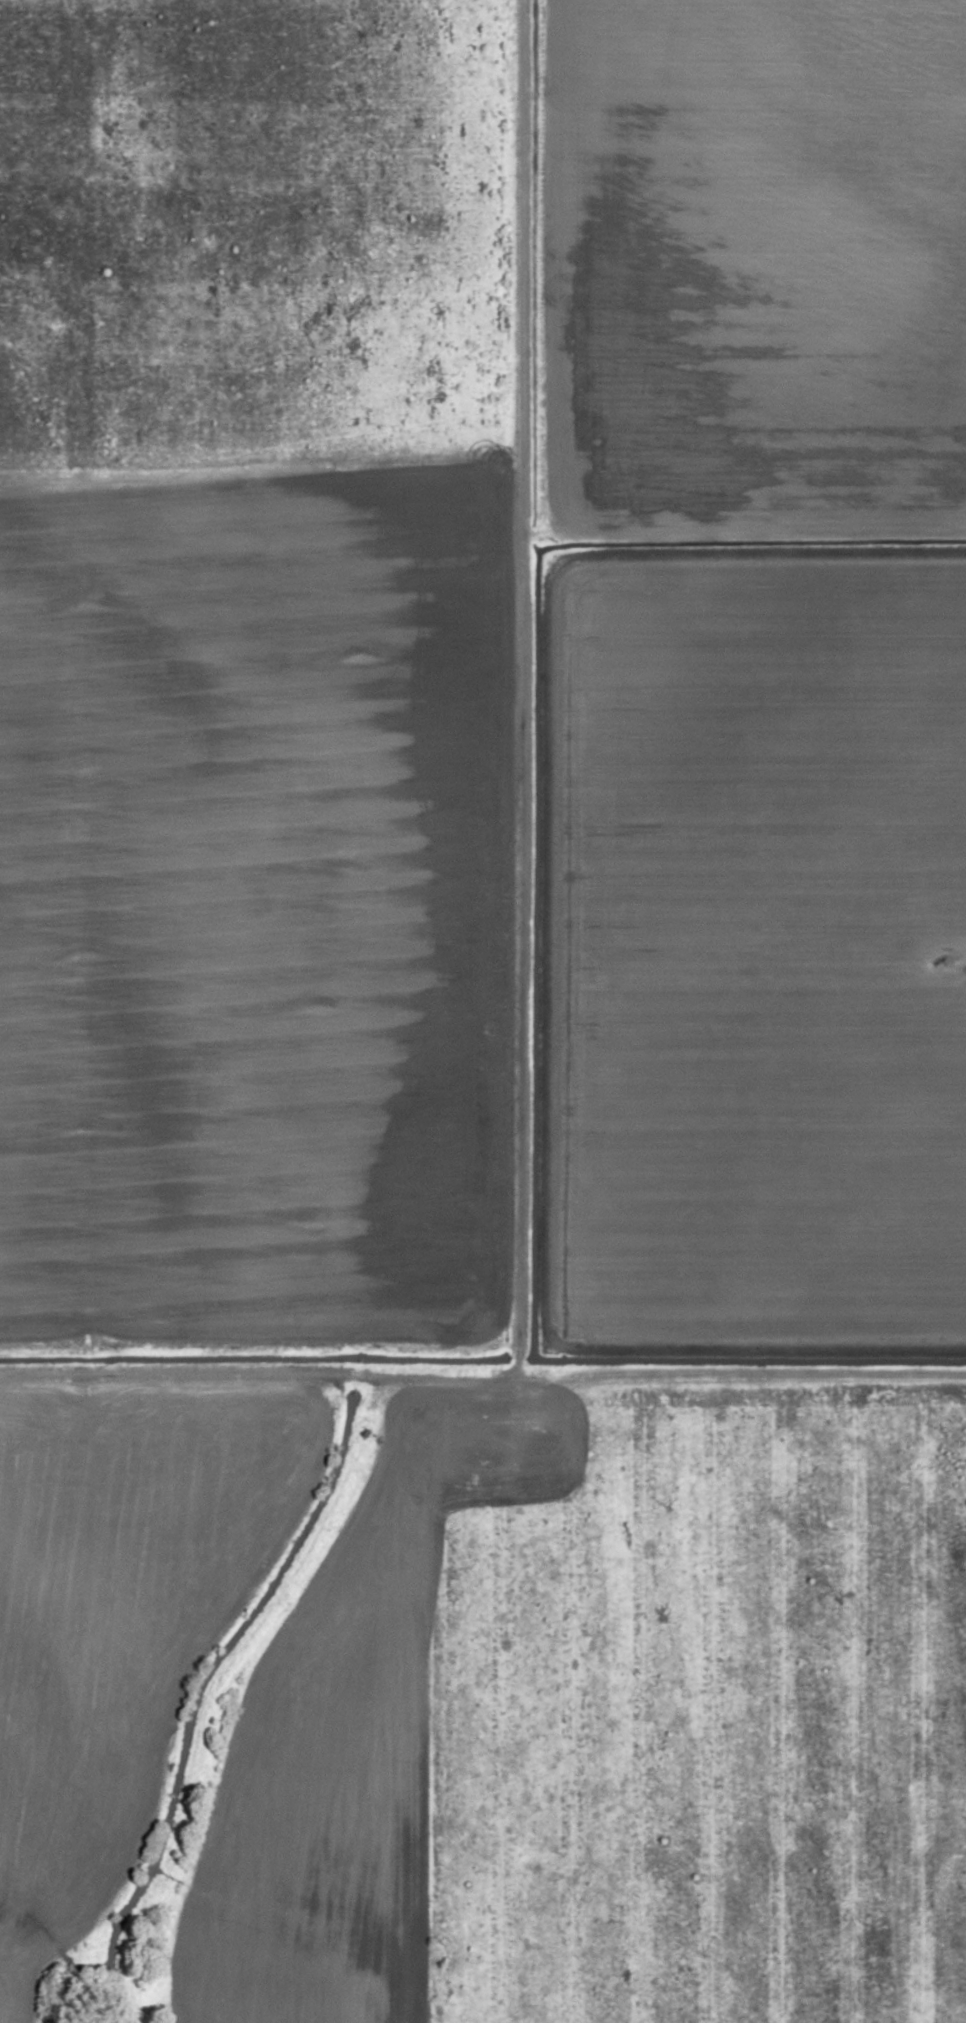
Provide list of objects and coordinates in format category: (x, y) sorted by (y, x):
road: (519, 695)
road: (482, 1391)

